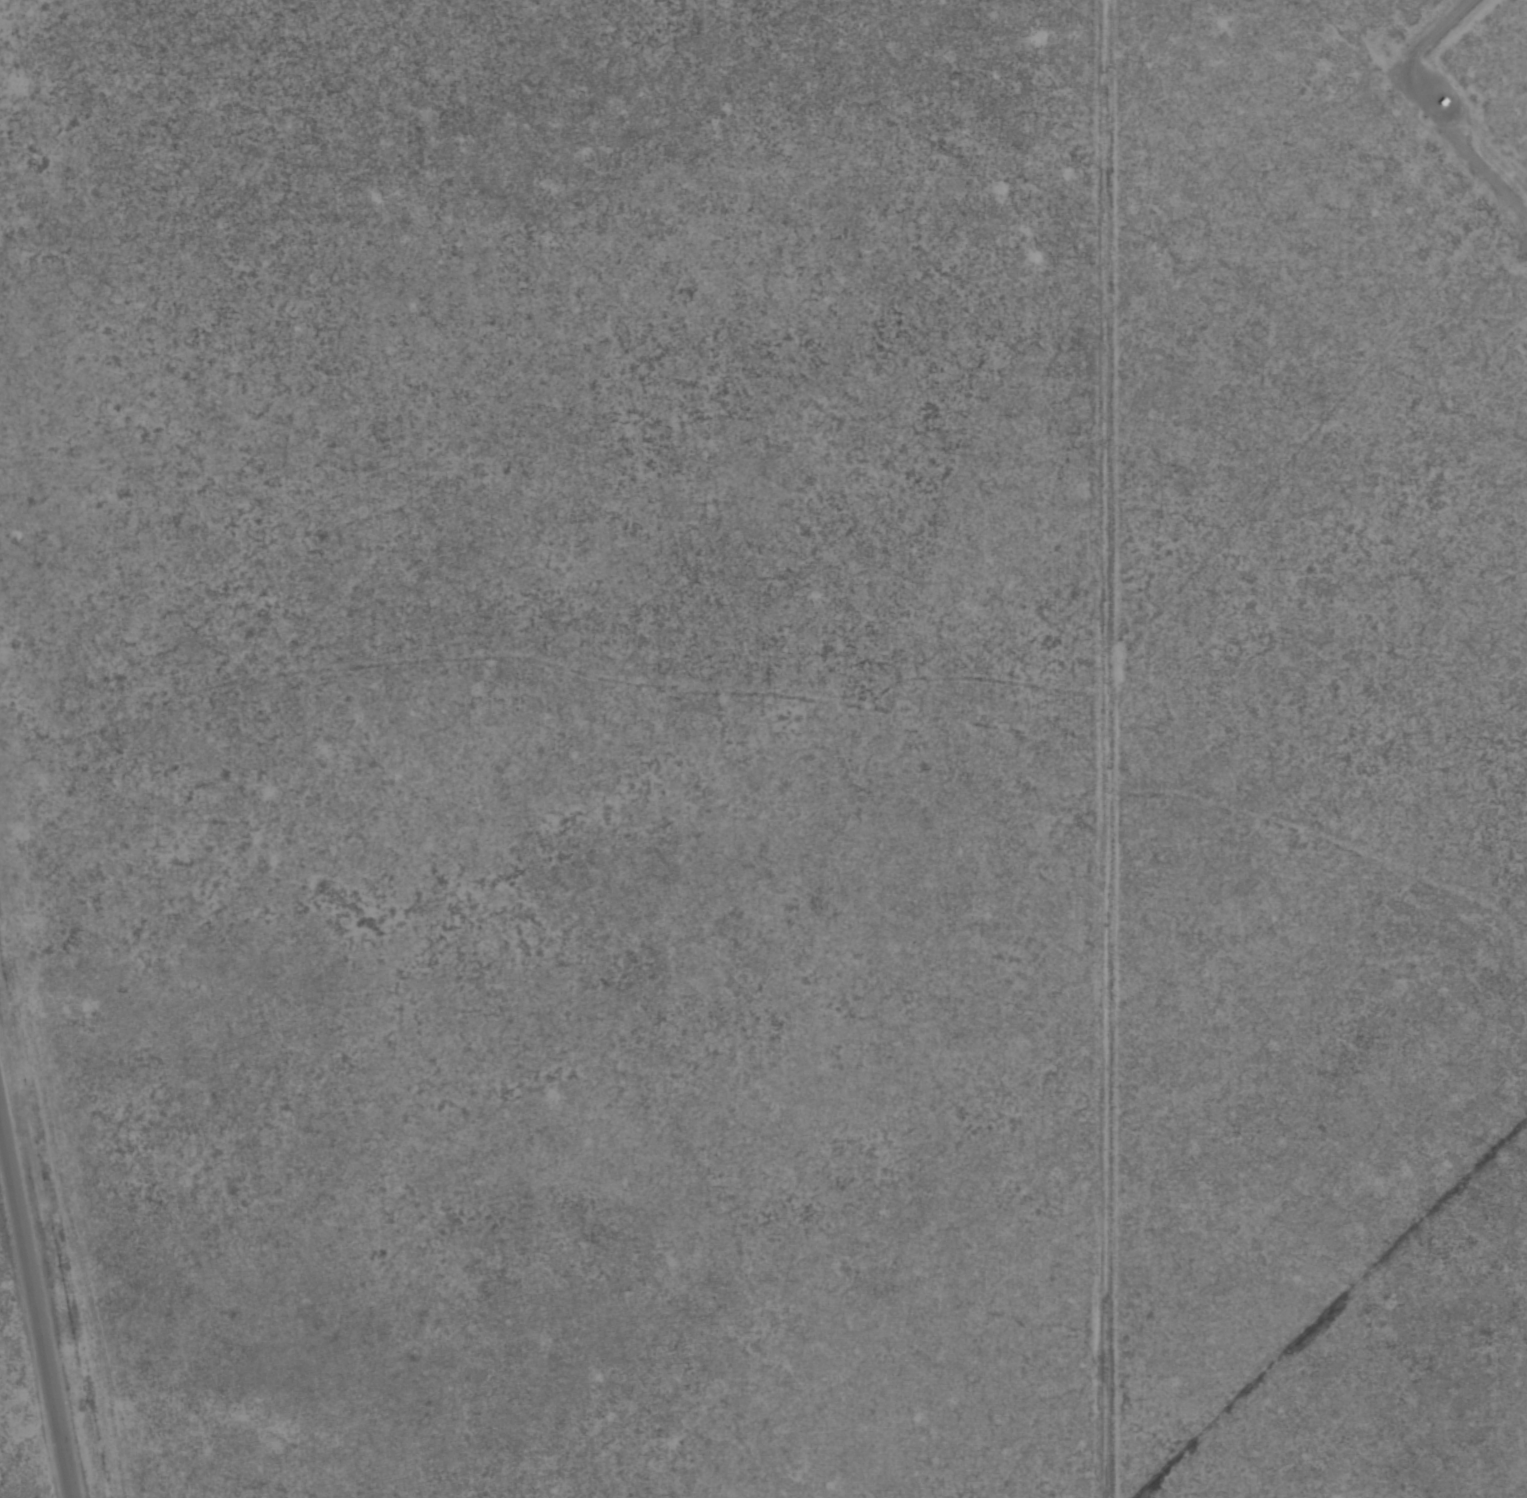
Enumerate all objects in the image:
airport: (1301, 675)
road: (34, 1315)

